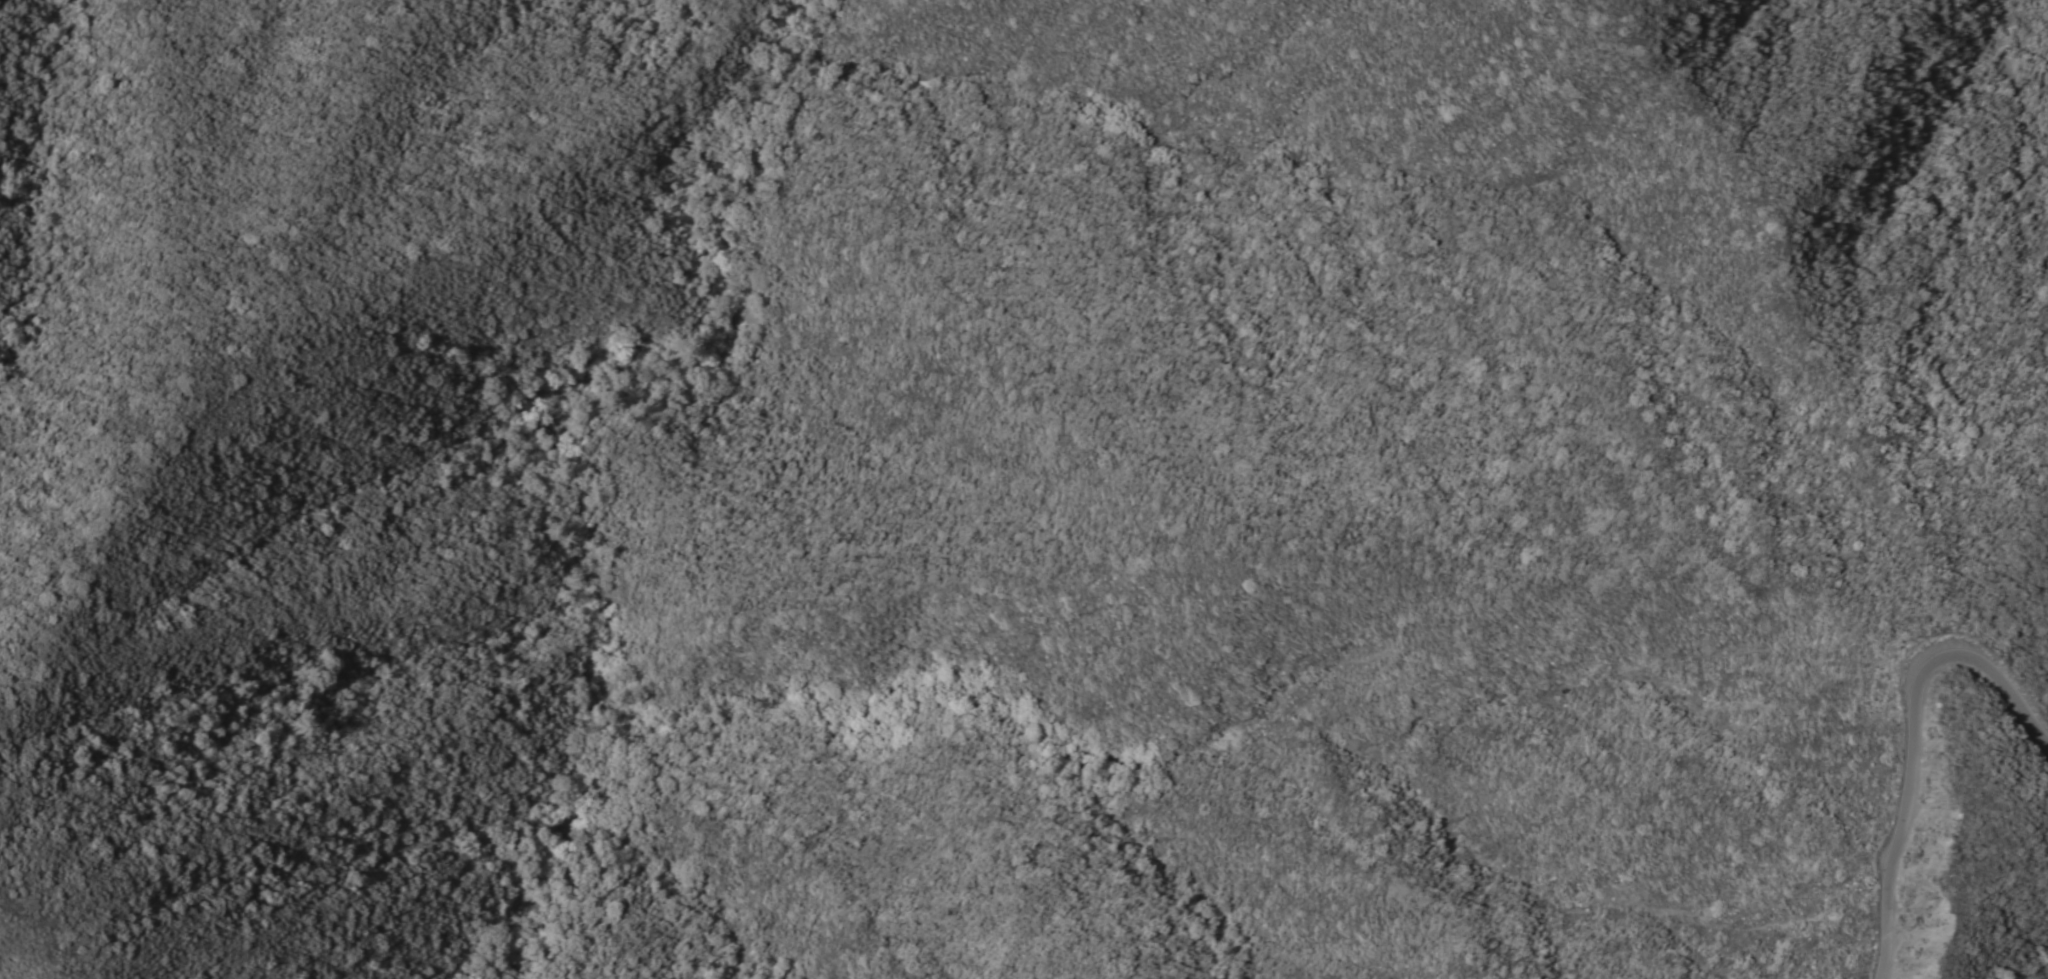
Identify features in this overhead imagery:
road: (1906, 742)

